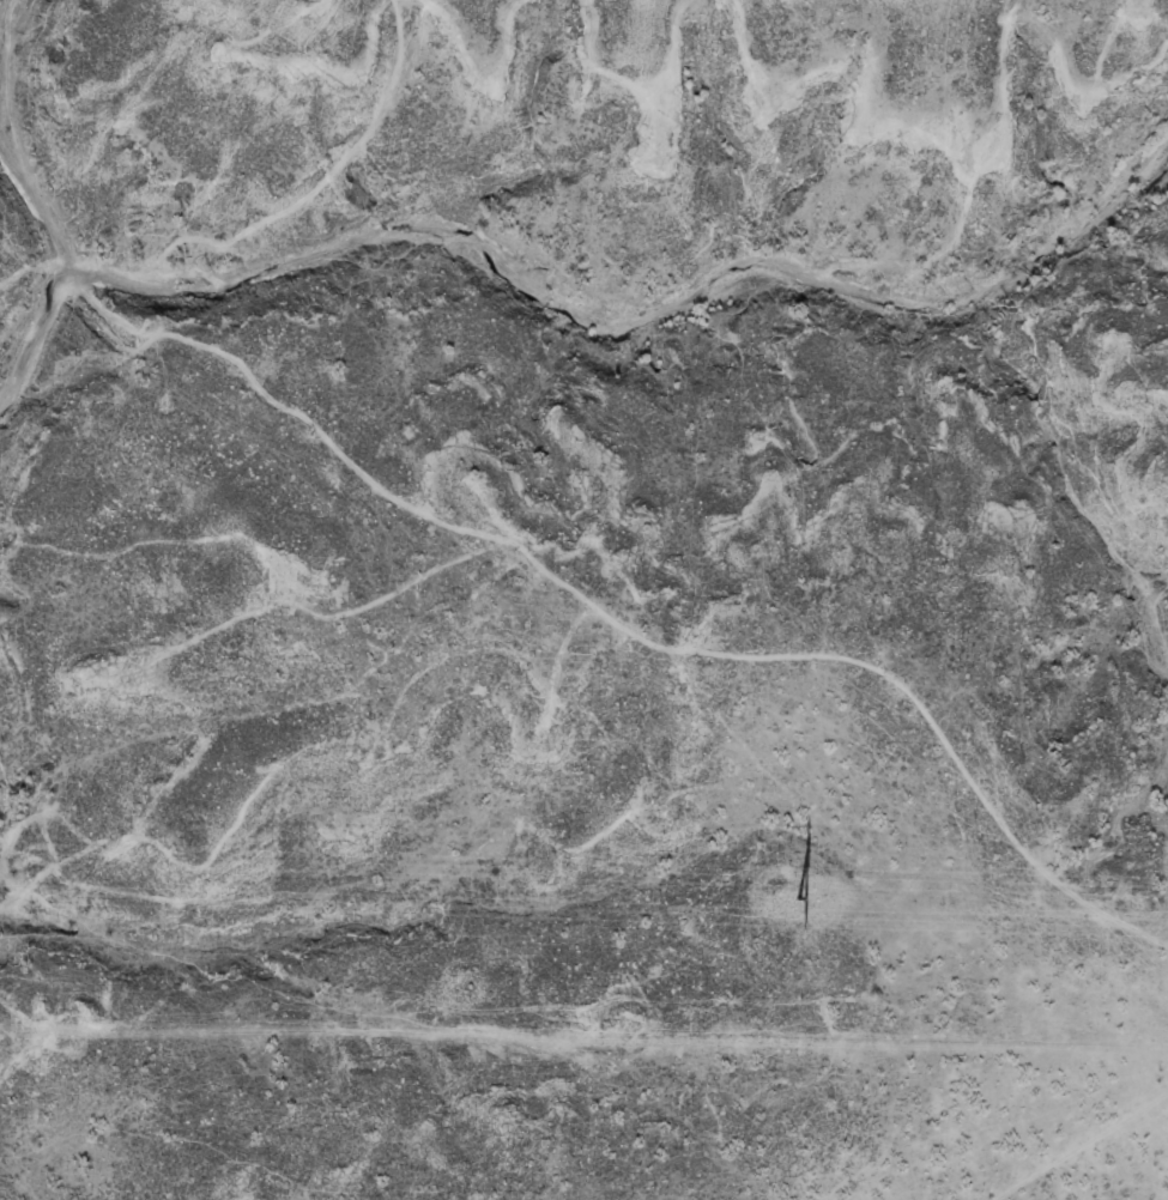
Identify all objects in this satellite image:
power tower: (800, 897)

